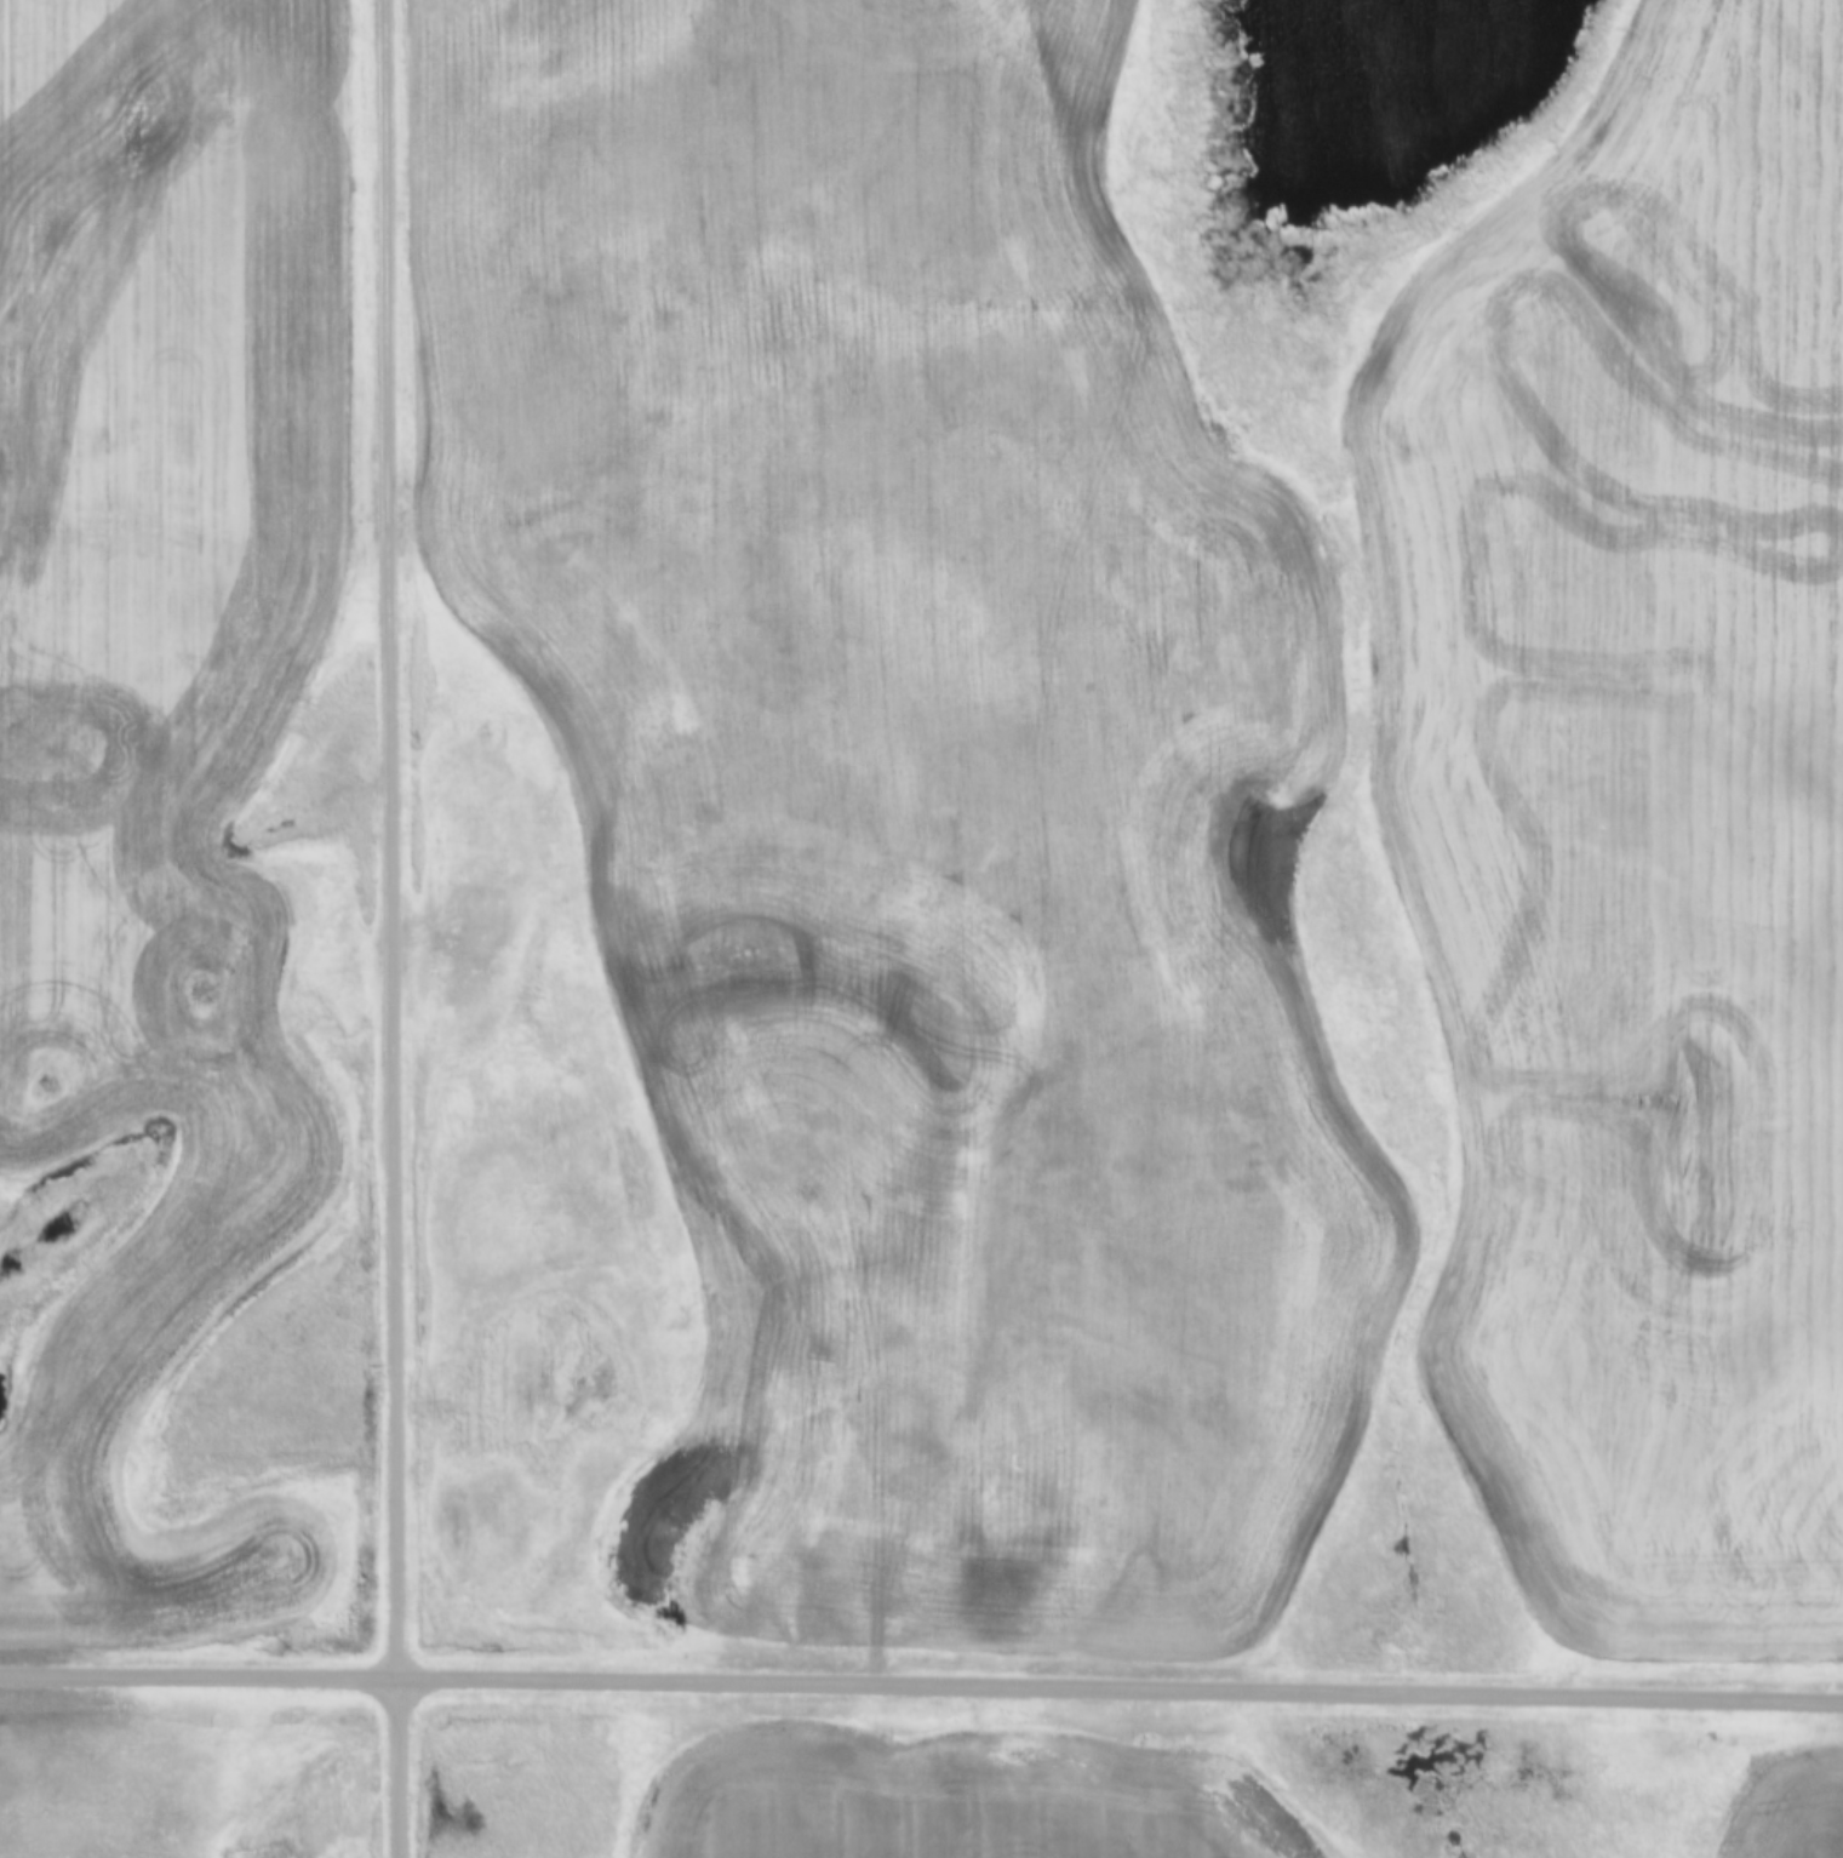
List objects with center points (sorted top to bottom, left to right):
road: (397, 837)
road: (921, 1686)
road: (405, 1767)

